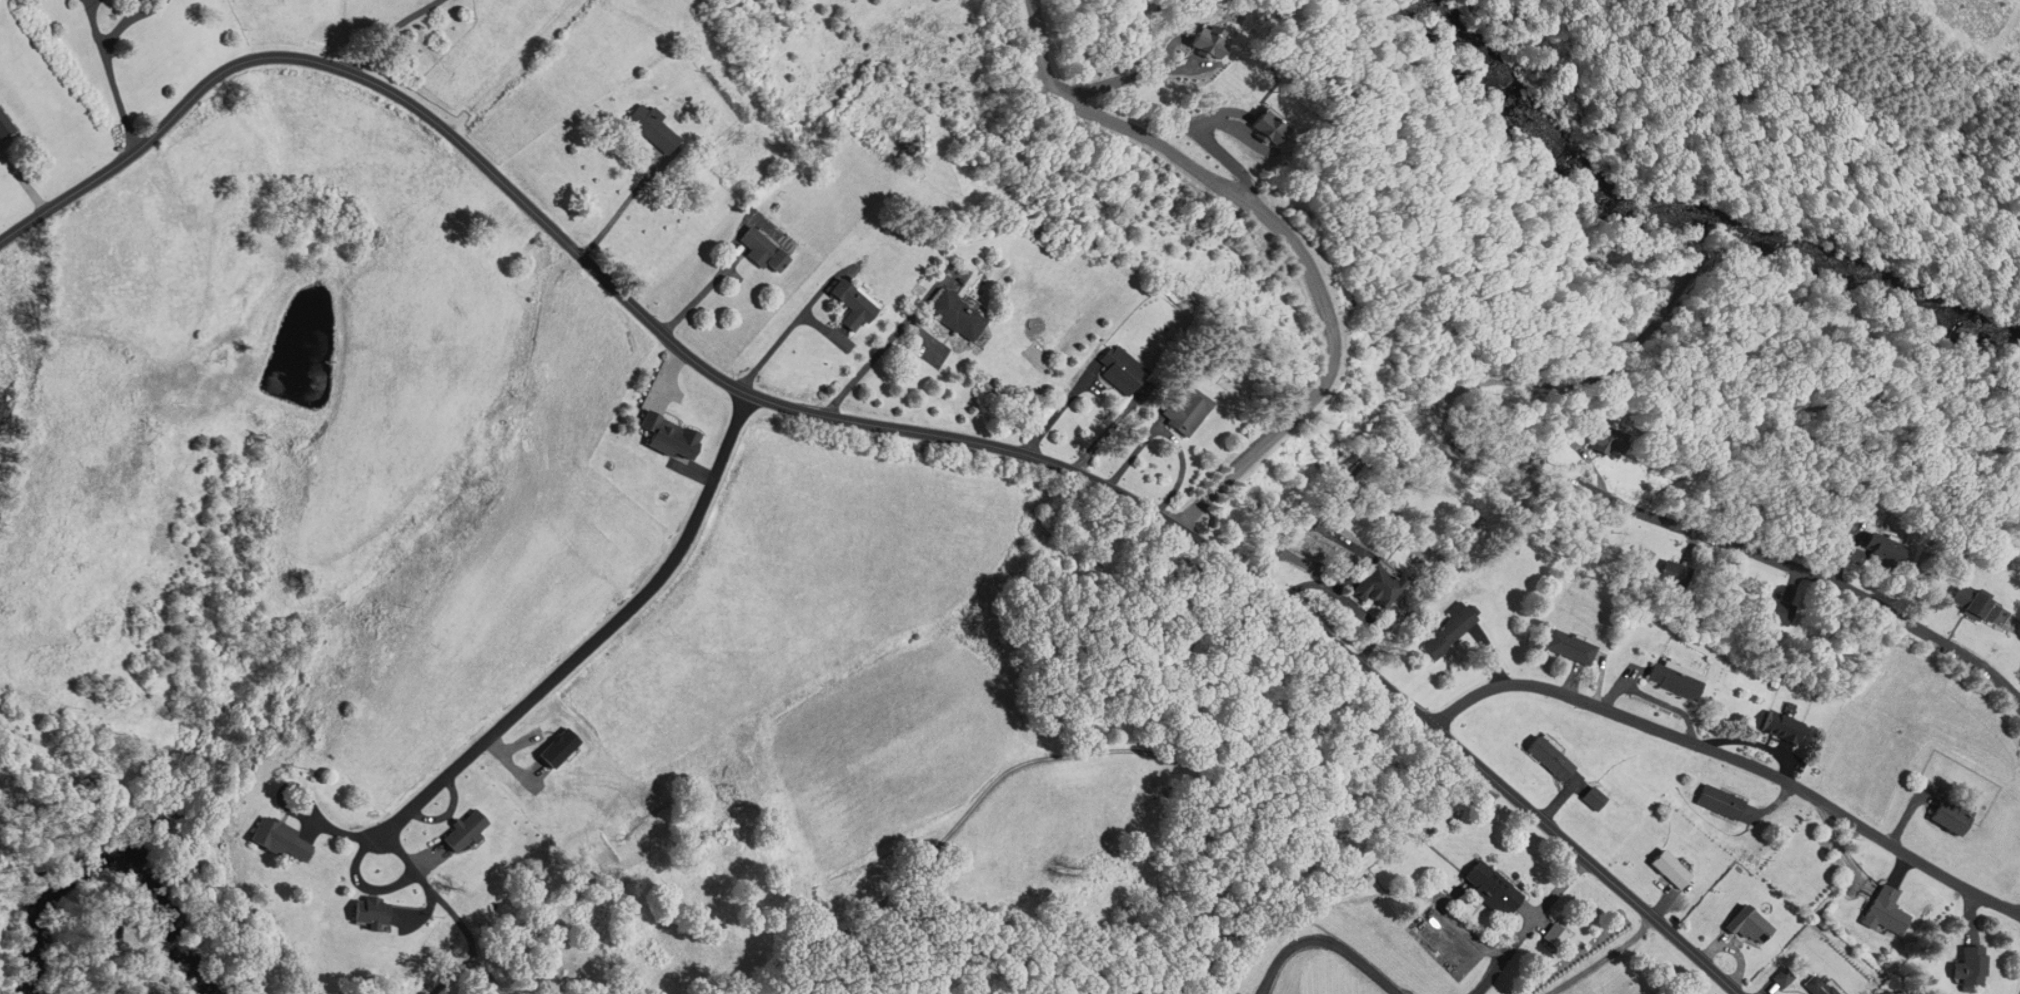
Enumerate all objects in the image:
building: (6, 125)
building: (650, 126)
building: (0, 132)
river: (1705, 205)
road: (1289, 232)
building: (761, 249)
building: (851, 301)
building: (957, 314)
building: (1119, 365)
building: (1185, 408)
road: (867, 424)
building: (667, 432)
building: (1607, 441)
building: (1594, 442)
building: (1885, 548)
building: (1674, 572)
road: (1808, 575)
building: (1380, 583)
building: (1980, 606)
building: (1779, 612)
building: (1449, 627)
road: (596, 637)
building: (1570, 647)
building: (1676, 675)
building: (1784, 723)
building: (1551, 756)
road: (1728, 761)
building: (1594, 796)
building: (1721, 799)
building: (1951, 815)
building: (459, 828)
building: (281, 835)
river: (94, 845)
building: (1671, 867)
building: (1489, 887)
building: (1888, 908)
building: (366, 911)
building: (1752, 925)
building: (103, 932)
road: (1595, 957)
building: (1971, 965)
building: (1781, 977)
building: (1815, 984)

